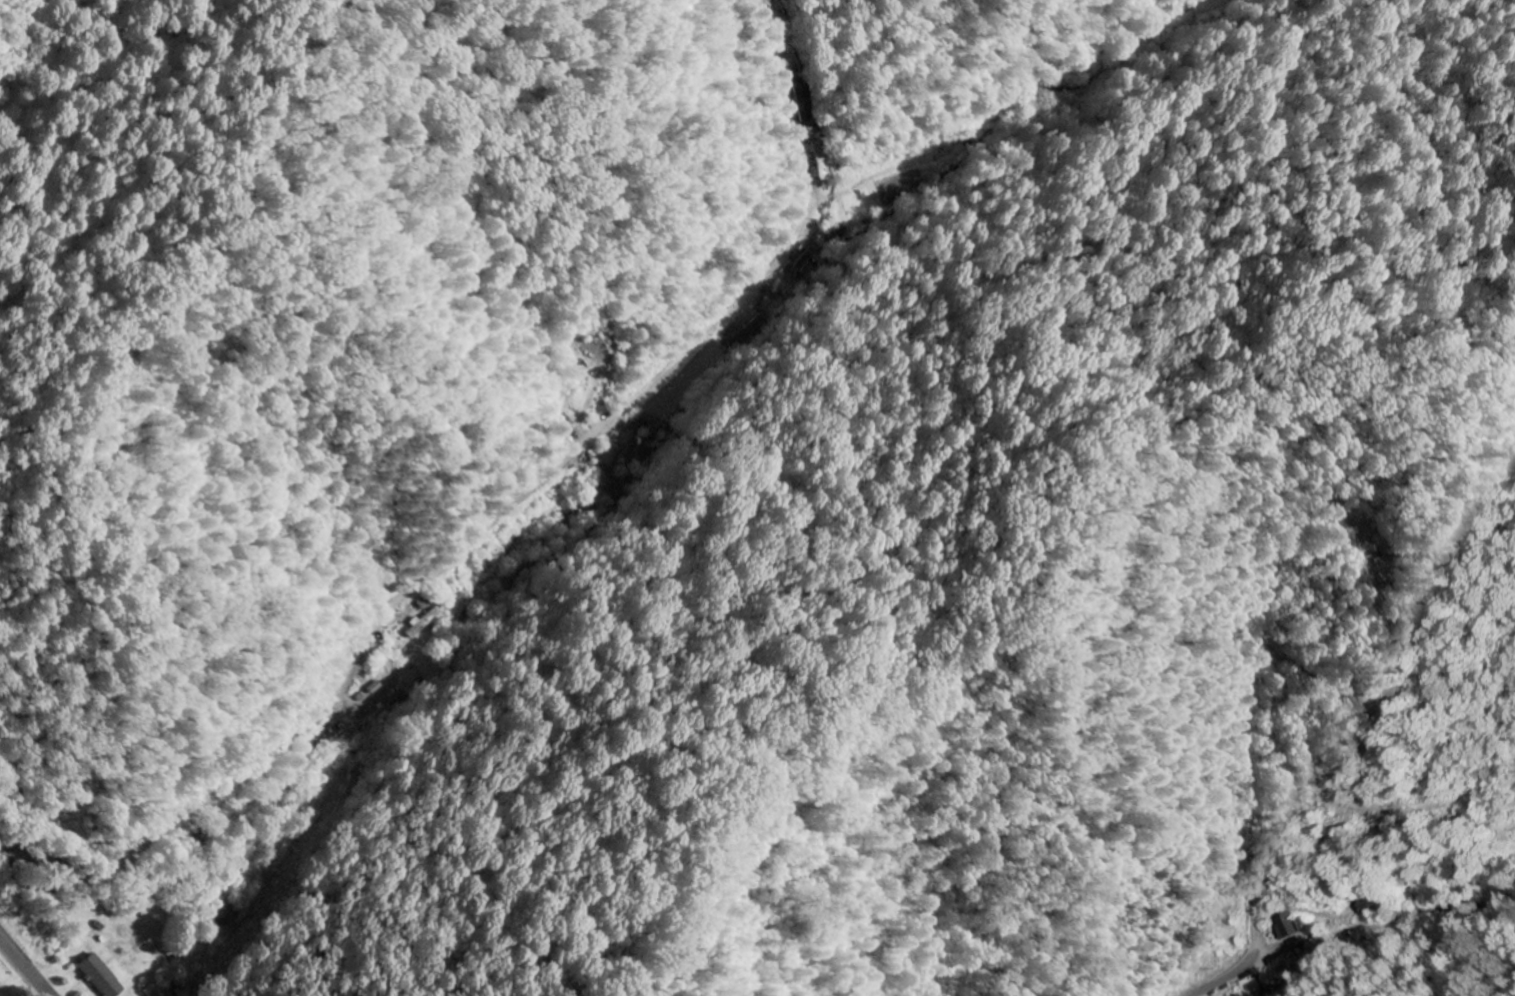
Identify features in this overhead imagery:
road: (503, 519)
building: (420, 624)
road: (1247, 737)
building: (224, 914)
building: (1287, 926)
road: (25, 966)
building: (100, 977)

